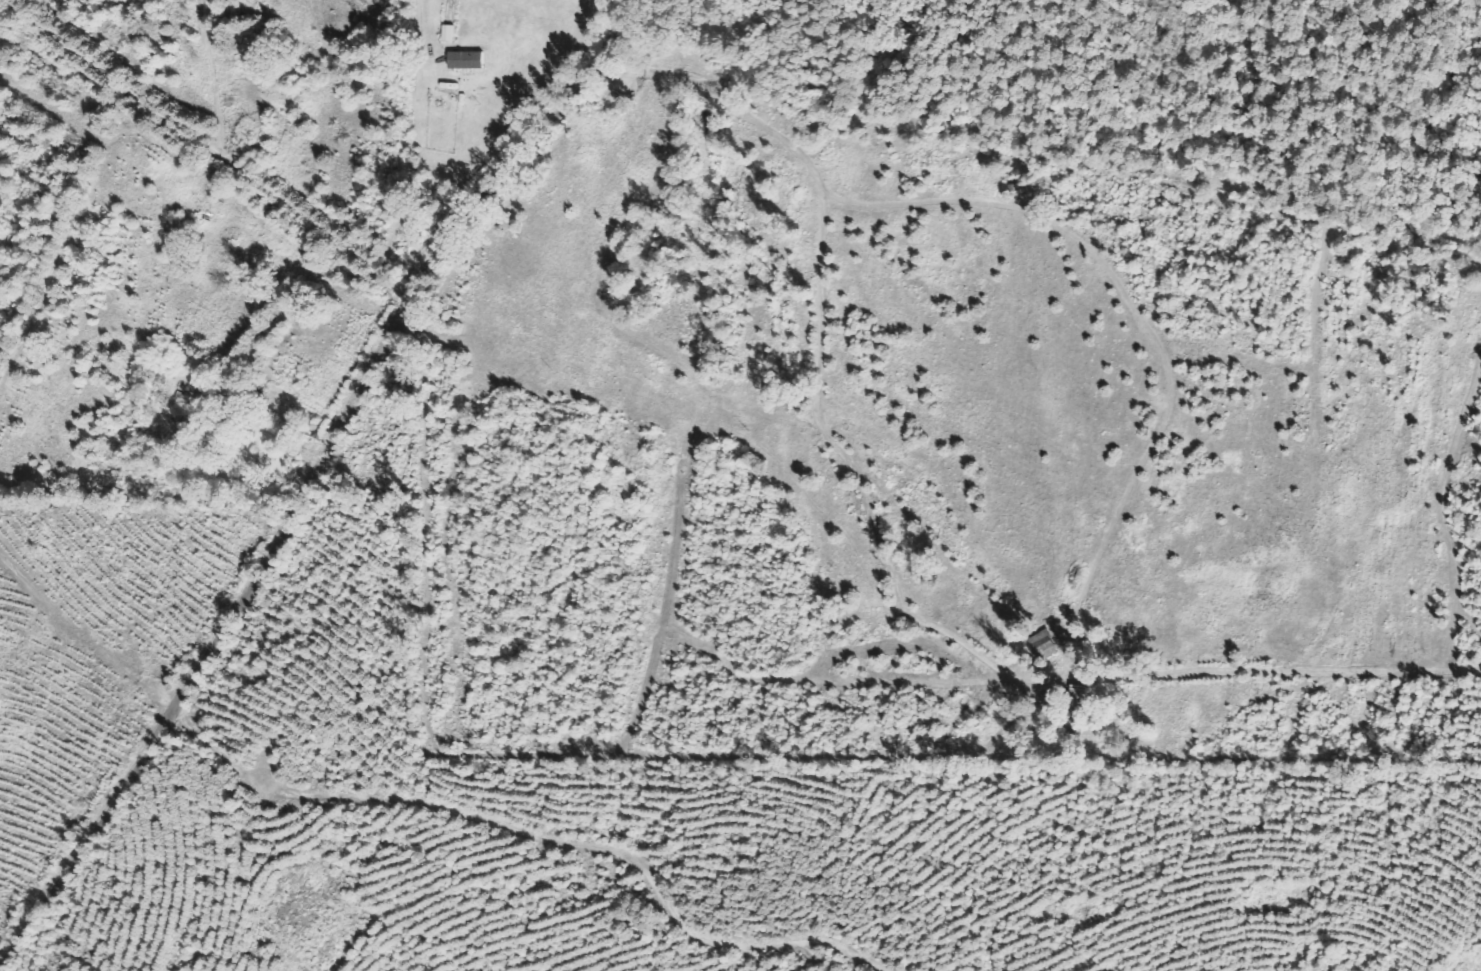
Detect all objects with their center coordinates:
building: (453, 33)
building: (474, 60)
building: (255, 65)
road: (320, 482)
road: (539, 836)

